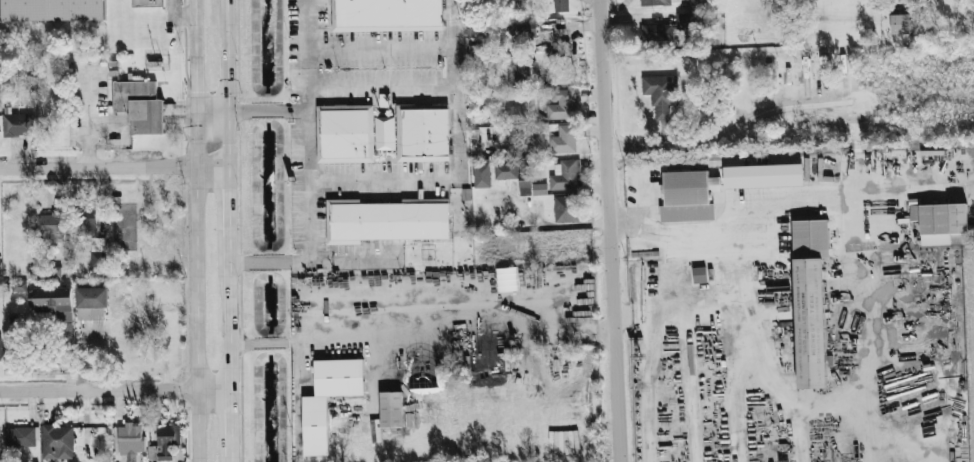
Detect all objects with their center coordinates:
building: (656, 2)
building: (148, 3)
building: (697, 5)
building: (561, 6)
building: (51, 10)
building: (387, 16)
building: (899, 24)
building: (664, 30)
road: (381, 50)
building: (519, 72)
road: (226, 83)
road: (381, 88)
traffic signals: (198, 92)
building: (660, 94)
building: (561, 105)
building: (139, 107)
road: (211, 111)
road: (265, 111)
building: (18, 125)
road: (729, 131)
building: (385, 133)
building: (345, 134)
building: (422, 134)
road: (198, 136)
building: (563, 141)
traffic signals: (225, 144)
road: (459, 159)
road: (111, 168)
road: (308, 168)
building: (507, 171)
building: (483, 176)
building: (565, 176)
building: (762, 176)
building: (525, 188)
building: (540, 190)
building: (688, 197)
road: (780, 201)
road: (224, 202)
building: (566, 209)
building: (88, 221)
building: (389, 221)
building: (941, 224)
road: (563, 226)
building: (51, 228)
road: (612, 230)
building: (98, 253)
road: (347, 262)
building: (699, 275)
building: (506, 279)
building: (19, 287)
building: (810, 301)
building: (52, 302)
building: (91, 303)
road: (225, 314)
road: (421, 332)
road: (872, 340)
road: (652, 351)
road: (757, 362)
road: (200, 368)
building: (390, 387)
road: (113, 391)
road: (227, 423)
building: (315, 426)
road: (799, 433)
building: (20, 438)
building: (130, 442)
building: (57, 443)
building: (165, 443)
road: (228, 459)

